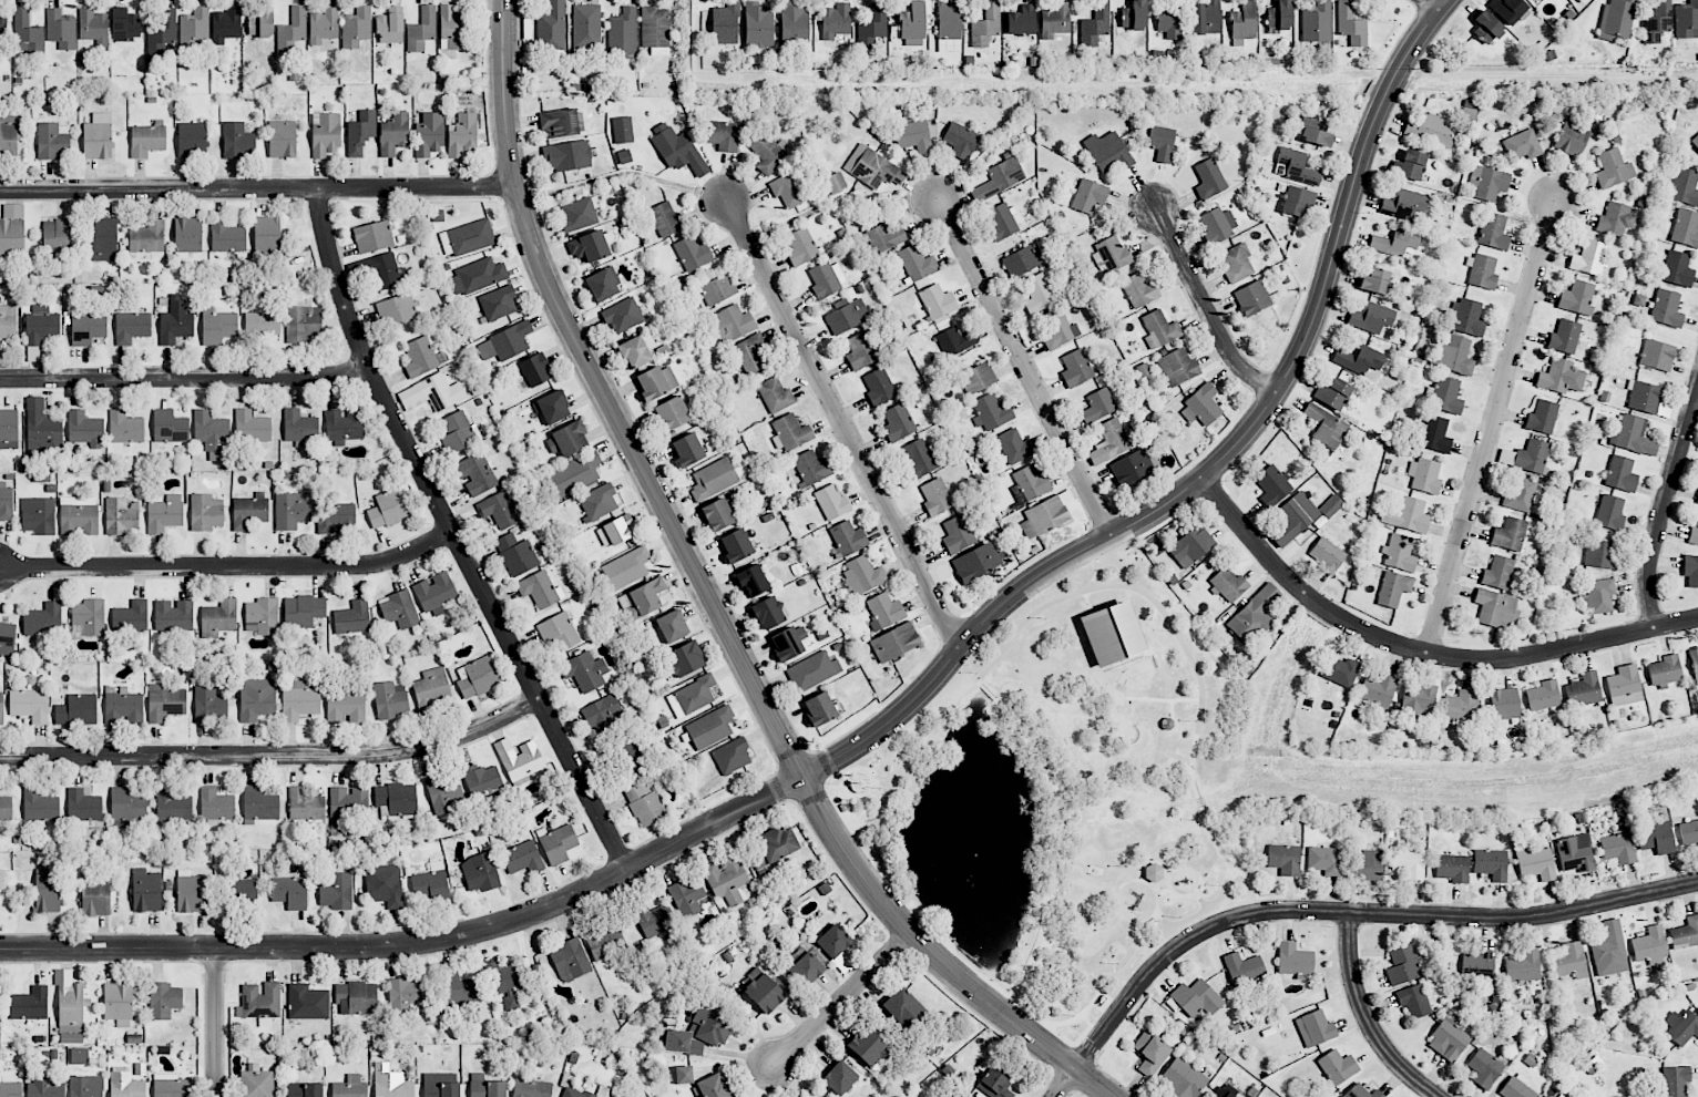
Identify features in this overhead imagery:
building: (1533, 0)
road: (1432, 4)
building: (1507, 10)
building: (1280, 14)
building: (1134, 16)
building: (1206, 18)
building: (836, 20)
building: (988, 20)
building: (1055, 20)
building: (1170, 20)
building: (1616, 20)
building: (1687, 20)
building: (1021, 21)
building: (1244, 21)
building: (1657, 21)
building: (1317, 22)
building: (262, 23)
building: (725, 23)
building: (794, 23)
building: (125, 24)
building: (226, 24)
building: (757, 24)
building: (912, 24)
building: (1095, 24)
building: (93, 25)
building: (324, 25)
building: (551, 25)
building: (1351, 25)
building: (586, 27)
building: (655, 27)
building: (872, 27)
building: (949, 27)
building: (2, 28)
building: (356, 28)
building: (389, 28)
building: (1486, 28)
building: (61, 29)
building: (194, 29)
building: (453, 29)
building: (422, 31)
building: (293, 32)
building: (27, 33)
building: (163, 34)
building: (623, 34)
building: (658, 52)
building: (1429, 129)
building: (622, 130)
building: (360, 132)
building: (1315, 132)
building: (393, 134)
building: (429, 134)
building: (325, 135)
building: (462, 135)
building: (723, 135)
building: (8, 136)
building: (98, 136)
building: (913, 136)
building: (1572, 137)
building: (192, 140)
building: (282, 140)
building: (146, 141)
building: (237, 141)
building: (960, 141)
building: (52, 142)
building: (1695, 142)
building: (1160, 143)
building: (1523, 144)
building: (677, 150)
building: (768, 152)
building: (1107, 152)
building: (566, 156)
building: (1409, 165)
building: (1295, 166)
building: (872, 168)
building: (1613, 168)
building: (999, 178)
building: (1209, 180)
building: (835, 183)
building: (1489, 183)
building: (1682, 186)
road: (258, 191)
building: (787, 191)
building: (1088, 196)
building: (1297, 201)
street lamp: (498, 202)
building: (1404, 204)
street lamp: (1363, 213)
building: (579, 214)
building: (665, 219)
building: (1616, 219)
building: (1000, 222)
building: (1217, 224)
building: (1686, 227)
building: (12, 230)
building: (1493, 232)
building: (187, 235)
building: (266, 235)
building: (55, 236)
building: (147, 237)
building: (226, 237)
building: (372, 237)
building: (467, 238)
building: (884, 238)
building: (103, 239)
building: (1395, 243)
building: (801, 246)
building: (589, 247)
building: (692, 253)
building: (1112, 254)
building: (1589, 257)
building: (1020, 262)
building: (917, 263)
building: (1236, 264)
building: (1677, 269)
building: (383, 271)
building: (1481, 271)
building: (477, 277)
building: (827, 279)
building: (1375, 281)
building: (603, 285)
building: (715, 290)
building: (1139, 290)
building: (1039, 293)
building: (1252, 298)
building: (1577, 298)
building: (937, 301)
building: (498, 304)
road: (1206, 304)
building: (1666, 308)
building: (397, 309)
building: (623, 316)
building: (846, 316)
building: (1371, 317)
building: (1466, 318)
building: (176, 320)
building: (8, 321)
building: (263, 324)
building: (303, 324)
building: (732, 324)
building: (41, 326)
building: (217, 326)
building: (88, 328)
building: (132, 328)
building: (1057, 329)
building: (1159, 329)
building: (1564, 337)
building: (955, 341)
building: (505, 344)
building: (636, 351)
building: (861, 351)
building: (751, 353)
building: (1657, 355)
building: (1453, 356)
building: (420, 357)
building: (1359, 359)
road: (1024, 366)
building: (1177, 367)
building: (1076, 369)
building: (535, 370)
road: (185, 376)
building: (1559, 377)
building: (978, 378)
building: (655, 382)
building: (879, 387)
building: (432, 393)
building: (1333, 393)
building: (775, 396)
street lamp: (1249, 396)
building: (1644, 397)
road: (607, 401)
building: (1098, 406)
building: (552, 407)
building: (1201, 407)
building: (671, 413)
building: (991, 413)
building: (1542, 417)
road: (841, 422)
building: (898, 422)
building: (344, 426)
building: (1324, 426)
building: (170, 427)
building: (252, 427)
building: (299, 427)
building: (125, 428)
building: (8, 429)
road: (1492, 429)
building: (42, 430)
building: (85, 430)
building: (457, 432)
building: (790, 432)
building: (209, 433)
building: (1433, 433)
building: (1633, 435)
building: (567, 440)
building: (1111, 441)
building: (1013, 447)
building: (687, 450)
building: (1531, 457)
building: (920, 459)
road: (1216, 463)
building: (811, 468)
building: (1131, 469)
building: (477, 474)
building: (1620, 474)
building: (1424, 475)
building: (570, 476)
building: (713, 479)
street lamp: (1226, 480)
building: (1032, 483)
building: (1272, 485)
building: (1521, 494)
building: (935, 496)
building: (1697, 501)
building: (6, 502)
building: (599, 502)
building: (831, 502)
building: (389, 509)
road: (1664, 509)
building: (291, 510)
building: (498, 510)
building: (248, 511)
building: (205, 512)
building: (1610, 512)
building: (164, 514)
building: (717, 514)
building: (38, 515)
building: (79, 515)
building: (121, 515)
building: (1408, 515)
building: (1301, 516)
building: (335, 517)
building: (1044, 517)
building: (618, 530)
building: (957, 534)
building: (1508, 534)
road: (453, 536)
building: (1692, 536)
building: (848, 539)
building: (736, 545)
building: (1191, 546)
building: (1399, 553)
building: (1599, 553)
building: (516, 555)
building: (1326, 555)
road: (1094, 556)
building: (975, 562)
road: (228, 567)
building: (626, 568)
building: (1690, 570)
road: (1096, 571)
street lamp: (1107, 572)
building: (1498, 573)
building: (863, 575)
building: (751, 581)
building: (1227, 584)
building: (1393, 588)
building: (540, 589)
building: (434, 593)
building: (1599, 596)
building: (642, 598)
building: (399, 609)
building: (1496, 609)
building: (303, 611)
building: (884, 611)
building: (768, 613)
building: (1255, 613)
building: (173, 615)
building: (90, 616)
building: (131, 616)
building: (262, 616)
building: (218, 618)
building: (352, 618)
street lamp: (1040, 618)
building: (43, 619)
building: (672, 626)
building: (559, 633)
building: (1112, 634)
road: (1013, 637)
building: (7, 638)
building: (788, 642)
building: (894, 642)
road: (1418, 652)
building: (681, 660)
building: (1694, 663)
street lamp: (965, 666)
building: (812, 670)
building: (1340, 670)
building: (1665, 670)
building: (584, 671)
street lamp: (971, 673)
building: (478, 677)
road: (978, 681)
building: (1624, 686)
building: (432, 687)
building: (1585, 689)
building: (1378, 690)
road: (988, 691)
building: (692, 696)
building: (1543, 696)
building: (256, 699)
building: (1419, 699)
building: (298, 700)
building: (389, 700)
building: (165, 701)
building: (1504, 704)
building: (1, 705)
building: (29, 705)
building: (209, 705)
building: (1461, 705)
building: (123, 707)
building: (346, 707)
building: (819, 709)
building: (76, 710)
building: (602, 715)
building: (709, 727)
street lamp: (921, 735)
road: (275, 755)
building: (732, 756)
building: (519, 758)
building: (630, 759)
road: (861, 773)
building: (481, 780)
street lamp: (829, 781)
road: (883, 782)
road: (829, 790)
park: (1071, 792)
building: (442, 793)
road: (910, 796)
building: (397, 799)
building: (348, 802)
building: (645, 802)
building: (259, 804)
building: (305, 804)
building: (40, 806)
building: (83, 806)
building: (172, 806)
building: (216, 806)
building: (127, 807)
building: (6, 808)
road: (1203, 810)
building: (1689, 833)
building: (1656, 838)
building: (558, 844)
building: (776, 844)
building: (1618, 848)
road: (1052, 852)
building: (1575, 853)
building: (523, 858)
building: (1285, 859)
street lamp: (603, 860)
building: (1324, 860)
building: (1409, 862)
building: (1535, 863)
building: (1491, 864)
building: (1365, 865)
building: (1452, 868)
building: (480, 872)
building: (1153, 872)
building: (727, 880)
building: (430, 882)
road: (1250, 884)
building: (48, 891)
building: (146, 891)
building: (244, 891)
building: (386, 891)
building: (289, 892)
building: (337, 892)
building: (190, 893)
building: (95, 895)
building: (687, 896)
road: (1356, 913)
road: (908, 915)
building: (655, 920)
building: (1685, 933)
road: (1146, 940)
building: (605, 941)
building: (833, 941)
road: (918, 941)
road: (419, 943)
building: (1649, 946)
building: (1609, 950)
building: (796, 956)
building: (571, 961)
building: (1571, 963)
building: (1402, 965)
building: (1479, 965)
building: (1524, 966)
building: (1244, 968)
building: (807, 970)
street lamp: (227, 971)
road: (989, 981)
building: (503, 983)
building: (459, 990)
building: (763, 991)
building: (403, 993)
building: (356, 997)
road: (842, 998)
building: (1195, 998)
building: (164, 1001)
building: (1414, 1001)
building: (260, 1002)
building: (307, 1003)
building: (30, 1004)
building: (117, 1004)
building: (902, 1008)
road: (1365, 1018)
road: (214, 1022)
road: (1091, 1025)
building: (1681, 1026)
building: (1315, 1028)
building: (702, 1029)
building: (1449, 1037)
building: (869, 1047)
building: (1150, 1053)
building: (79, 1056)
building: (1337, 1067)
building: (1484, 1068)
street lamp: (1049, 1070)
building: (683, 1075)
building: (839, 1078)
building: (1183, 1079)
building: (1675, 1080)
building: (256, 1081)
building: (390, 1083)
road: (1065, 1083)
road: (1094, 1083)
building: (125, 1085)
building: (994, 1085)
building: (85, 1086)
building: (171, 1086)
building: (44, 1087)
building: (349, 1087)
building: (485, 1087)
building: (712, 1087)
building: (1516, 1087)
building: (531, 1088)
building: (10, 1089)
building: (305, 1089)
building: (1361, 1091)
building: (574, 1093)
building: (1221, 1093)
building: (964, 1096)
building: (1546, 1096)
building: (1561, 1096)

